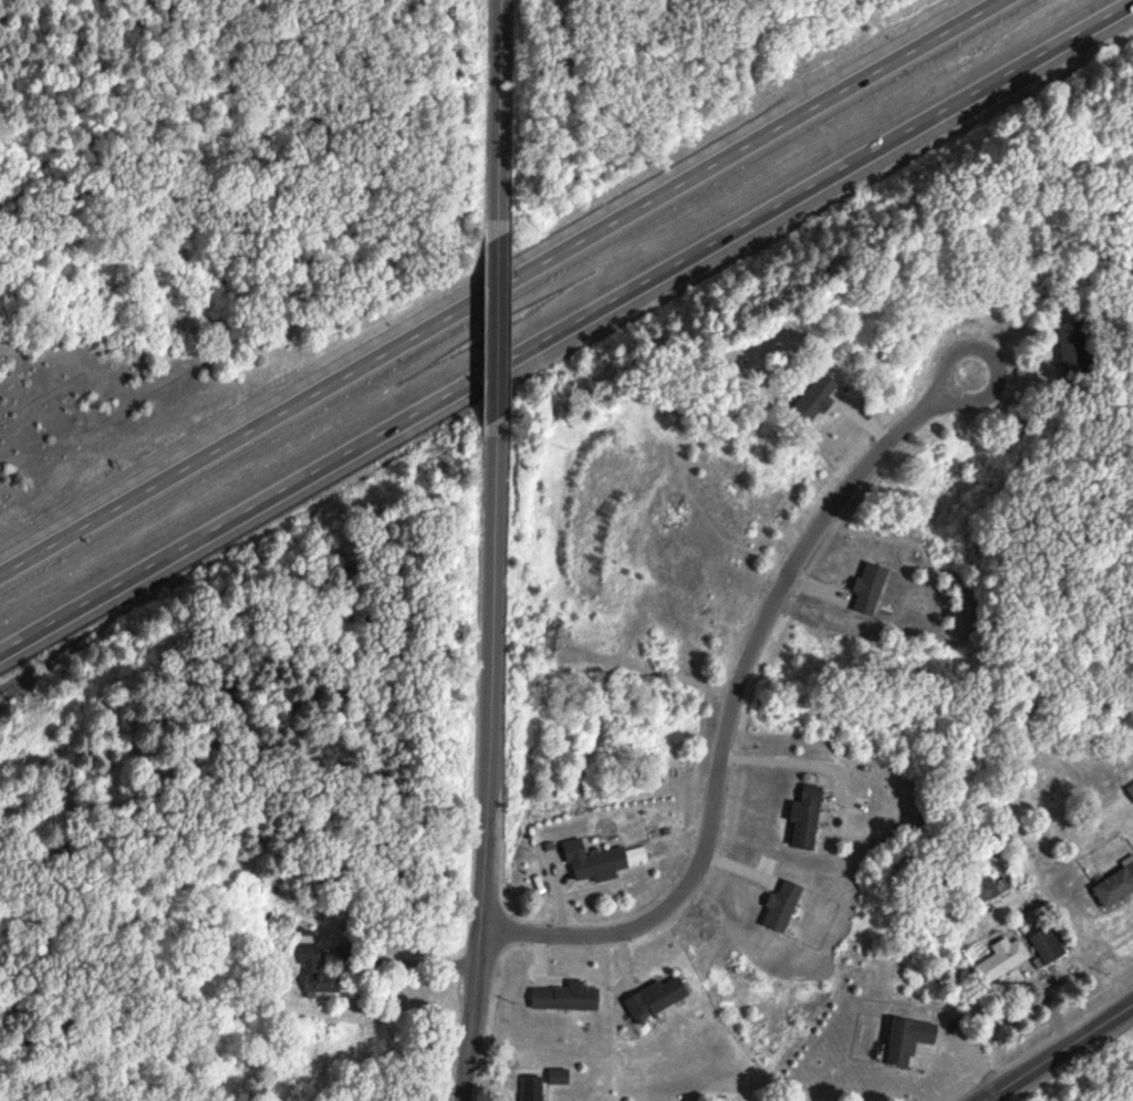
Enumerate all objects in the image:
road: (498, 117)
road: (496, 284)
road: (497, 326)
road: (565, 326)
building: (1073, 354)
road: (732, 706)
road: (788, 758)
road: (487, 760)
building: (1131, 792)
building: (808, 818)
building: (595, 863)
building: (1116, 889)
building: (991, 890)
building: (1049, 946)
road: (413, 959)
building: (1002, 960)
building: (318, 973)
building: (566, 998)
building: (658, 998)
building: (909, 1041)
road: (1058, 1052)
building: (532, 1089)

